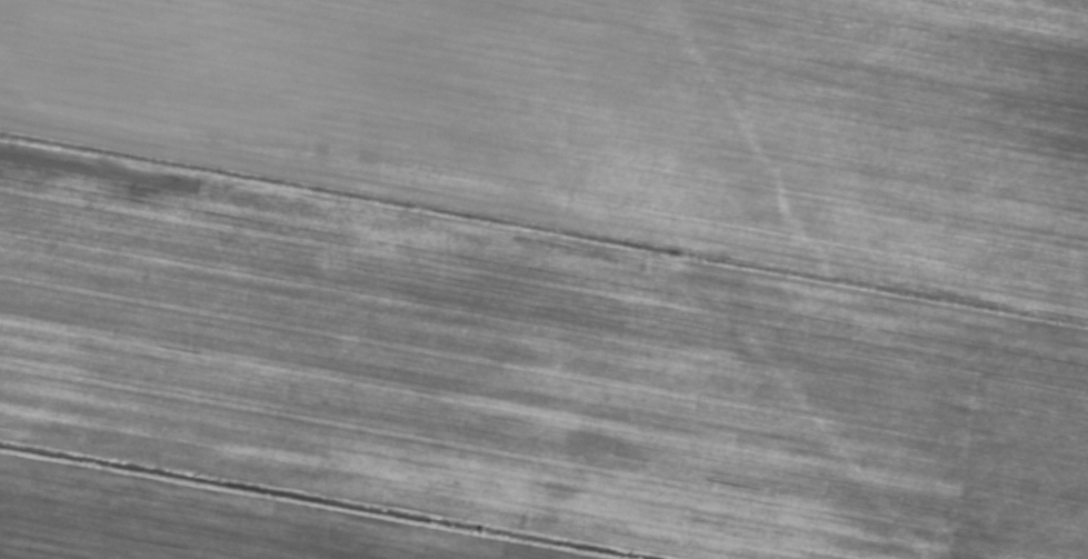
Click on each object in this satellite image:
crop: (543, 279)

